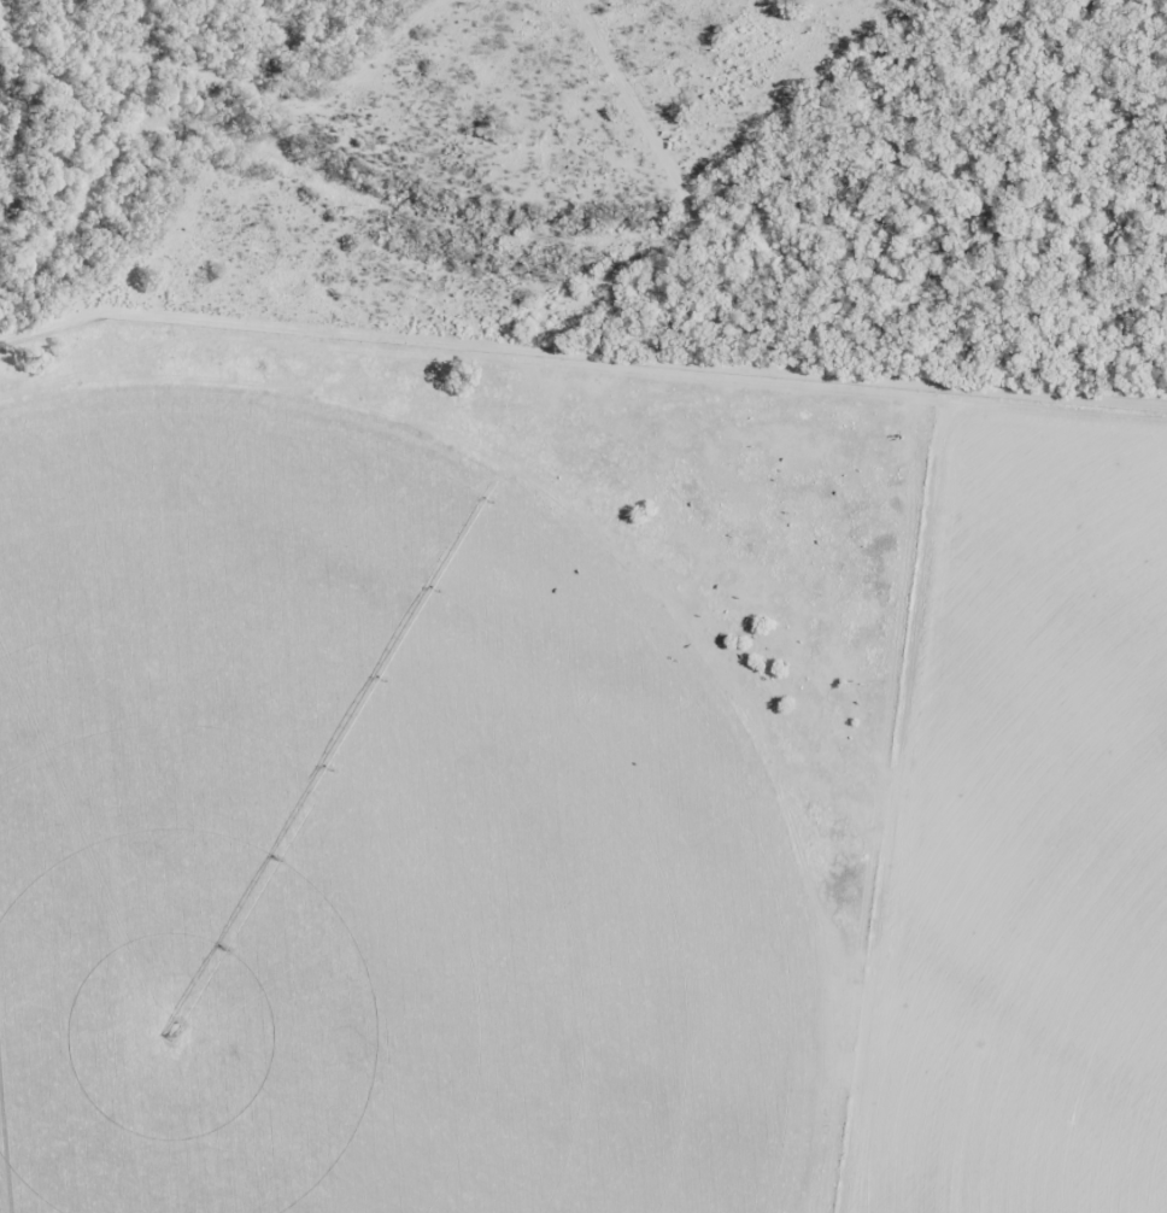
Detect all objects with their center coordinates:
road: (582, 414)

